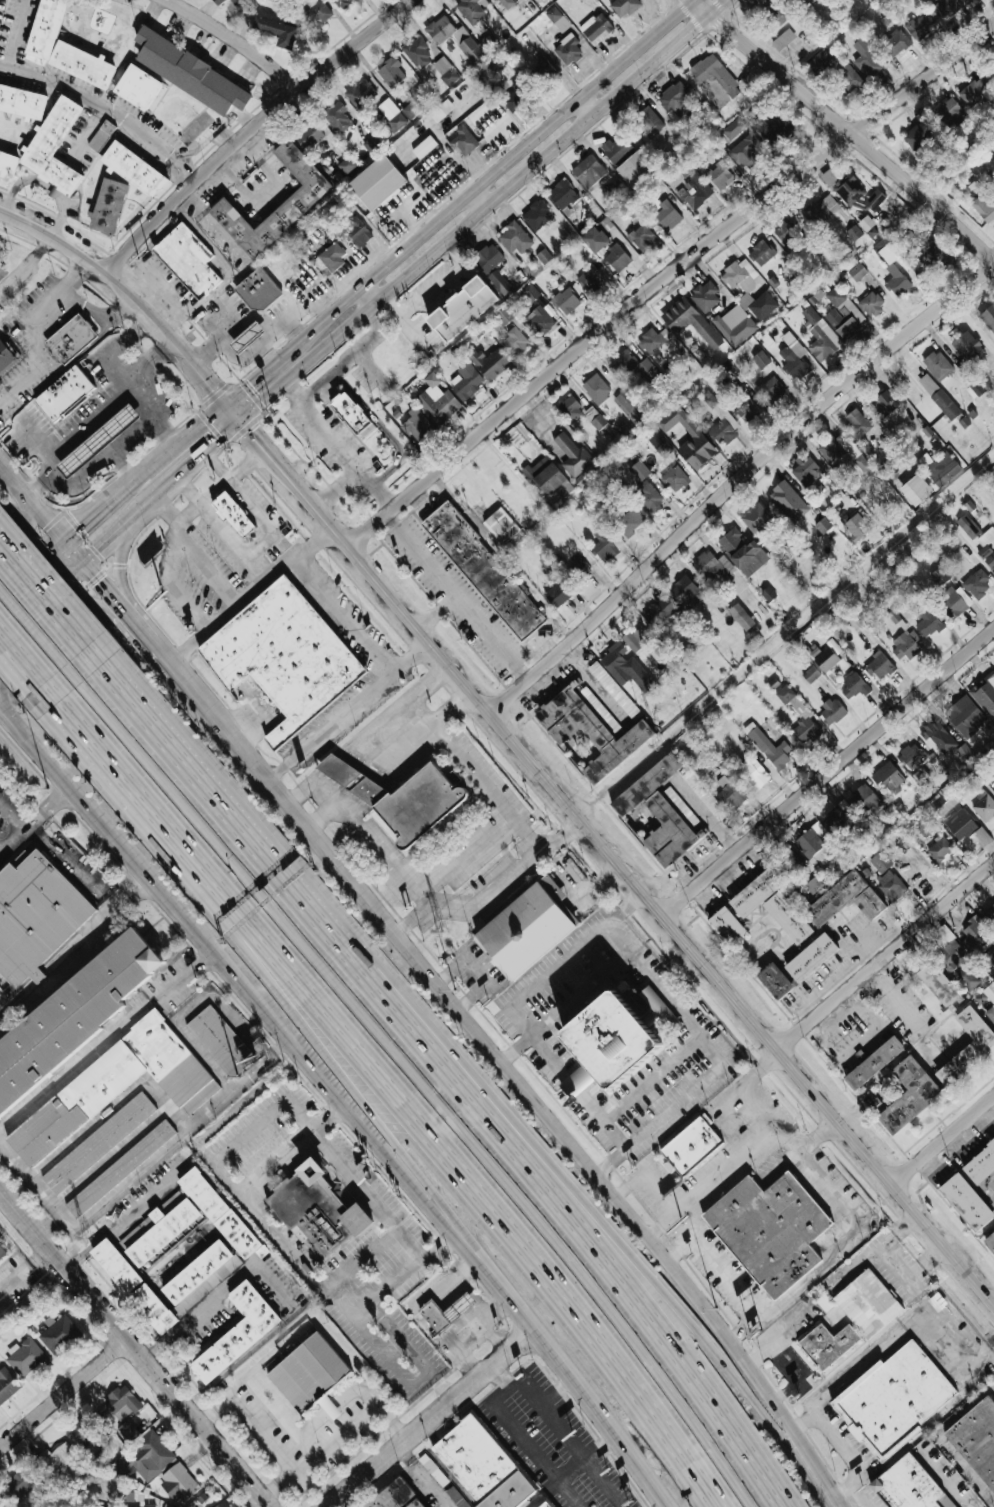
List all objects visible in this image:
building: (219, 2)
building: (235, 2)
building: (342, 3)
building: (506, 4)
building: (624, 7)
building: (944, 8)
building: (470, 10)
building: (779, 13)
building: (316, 16)
building: (558, 19)
building: (920, 25)
building: (596, 28)
building: (278, 32)
road: (14, 36)
building: (454, 38)
building: (783, 40)
road: (237, 41)
building: (895, 43)
building: (488, 44)
building: (63, 47)
building: (567, 49)
building: (822, 57)
building: (868, 57)
building: (429, 61)
building: (499, 61)
building: (190, 73)
building: (391, 73)
building: (714, 74)
building: (990, 75)
building: (849, 78)
building: (138, 87)
building: (973, 92)
building: (361, 94)
building: (515, 97)
building: (673, 97)
building: (22, 102)
road: (587, 107)
road: (107, 110)
building: (412, 110)
building: (441, 111)
building: (949, 111)
building: (392, 116)
building: (337, 118)
building: (648, 122)
building: (736, 127)
road: (845, 128)
building: (778, 129)
road: (253, 130)
building: (307, 135)
building: (102, 137)
building: (916, 137)
building: (463, 142)
building: (53, 147)
building: (424, 147)
building: (616, 149)
building: (744, 155)
building: (347, 165)
building: (8, 166)
building: (636, 167)
building: (134, 170)
building: (588, 171)
road: (490, 175)
building: (720, 176)
building: (377, 182)
building: (844, 187)
building: (694, 191)
building: (562, 194)
road: (484, 197)
building: (874, 200)
building: (299, 203)
building: (109, 207)
building: (985, 208)
building: (821, 210)
road: (485, 211)
building: (666, 215)
building: (537, 216)
building: (866, 224)
building: (358, 233)
building: (787, 234)
building: (641, 236)
building: (515, 238)
building: (595, 239)
building: (885, 252)
building: (761, 253)
building: (332, 256)
building: (543, 256)
building: (931, 256)
building: (489, 257)
building: (616, 258)
building: (188, 260)
road: (25, 263)
building: (857, 272)
building: (3, 274)
building: (590, 278)
road: (666, 278)
building: (499, 282)
building: (897, 282)
building: (748, 289)
building: (258, 290)
road: (125, 292)
building: (529, 293)
road: (370, 295)
building: (705, 297)
building: (566, 301)
building: (871, 303)
building: (463, 309)
road: (94, 313)
building: (843, 314)
building: (505, 316)
building: (988, 317)
building: (540, 322)
building: (689, 322)
road: (244, 325)
building: (735, 325)
road: (21, 328)
building: (821, 336)
building: (247, 338)
building: (71, 339)
building: (653, 340)
building: (515, 342)
road: (256, 346)
building: (968, 349)
road: (357, 350)
road: (252, 351)
building: (6, 356)
building: (794, 357)
road: (149, 359)
building: (760, 360)
building: (491, 362)
building: (937, 365)
building: (638, 370)
road: (256, 377)
building: (466, 381)
building: (971, 382)
building: (596, 389)
building: (771, 390)
building: (65, 395)
building: (939, 397)
building: (709, 400)
building: (437, 403)
traffic signals: (225, 405)
building: (883, 405)
building: (631, 408)
building: (570, 409)
building: (747, 411)
road: (233, 414)
building: (352, 415)
traffic signals: (241, 423)
building: (857, 424)
building: (417, 425)
road: (83, 426)
road: (143, 432)
building: (722, 433)
road: (165, 434)
building: (98, 442)
building: (696, 443)
road: (339, 447)
road: (174, 448)
building: (843, 452)
building: (572, 455)
road: (246, 463)
road: (190, 465)
building: (939, 468)
road: (124, 469)
building: (638, 472)
building: (806, 472)
building: (547, 477)
building: (675, 479)
road: (227, 480)
road: (737, 484)
road: (336, 487)
building: (916, 490)
building: (783, 495)
building: (647, 496)
road: (187, 515)
building: (234, 516)
road: (38, 517)
building: (756, 518)
road: (263, 522)
building: (629, 522)
building: (501, 526)
building: (822, 526)
building: (856, 526)
building: (968, 527)
traffic signals: (79, 528)
road: (220, 528)
road: (108, 535)
road: (26, 539)
road: (61, 542)
building: (606, 544)
building: (987, 548)
building: (742, 552)
road: (118, 557)
building: (712, 567)
building: (484, 571)
power tower: (855, 574)
traffic signals: (59, 577)
building: (939, 577)
road: (91, 581)
road: (171, 581)
traffic signals: (94, 584)
building: (977, 584)
building: (686, 592)
road: (456, 594)
building: (557, 594)
road: (37, 595)
road: (43, 595)
building: (768, 595)
road: (233, 597)
building: (954, 601)
road: (113, 605)
building: (661, 611)
building: (741, 617)
building: (927, 625)
road: (31, 628)
road: (132, 628)
road: (201, 633)
road: (358, 633)
building: (636, 639)
building: (905, 644)
road: (33, 645)
building: (282, 655)
building: (828, 656)
road: (158, 657)
road: (18, 665)
building: (879, 666)
building: (626, 668)
building: (811, 675)
road: (429, 683)
building: (854, 685)
building: (614, 690)
building: (984, 694)
road: (452, 707)
building: (832, 712)
road: (1, 713)
building: (799, 716)
building: (965, 716)
road: (329, 727)
building: (592, 729)
building: (939, 736)
road: (359, 742)
building: (768, 746)
power tower: (654, 747)
road: (243, 755)
building: (911, 756)
road: (98, 757)
road: (384, 765)
road: (829, 771)
road: (474, 773)
building: (752, 773)
building: (887, 776)
road: (296, 793)
building: (729, 793)
road: (323, 795)
building: (704, 795)
building: (401, 798)
building: (866, 798)
road: (219, 802)
building: (943, 802)
building: (984, 808)
parking lot: (10, 810)
building: (661, 812)
road: (706, 817)
building: (838, 818)
road: (12, 820)
road: (35, 823)
building: (960, 825)
building: (925, 827)
road: (107, 830)
building: (981, 837)
building: (814, 844)
building: (939, 849)
road: (465, 856)
road: (617, 861)
building: (788, 862)
road: (75, 867)
road: (601, 883)
building: (890, 885)
building: (756, 893)
building: (845, 900)
road: (434, 902)
building: (36, 912)
building: (989, 915)
road: (410, 918)
building: (788, 918)
building: (727, 925)
building: (525, 929)
building: (974, 932)
power tower: (441, 934)
road: (80, 947)
building: (949, 949)
road: (576, 950)
road: (885, 952)
building: (811, 958)
building: (988, 961)
road: (476, 972)
building: (967, 979)
building: (775, 981)
road: (578, 994)
road: (662, 995)
building: (990, 997)
building: (660, 1008)
road: (6, 1012)
building: (73, 1015)
road: (519, 1022)
road: (873, 1022)
building: (612, 1039)
road: (107, 1040)
building: (223, 1044)
road: (320, 1047)
building: (968, 1047)
road: (513, 1048)
road: (760, 1063)
building: (874, 1063)
road: (413, 1077)
power tower: (268, 1078)
road: (652, 1081)
building: (576, 1082)
building: (115, 1089)
road: (577, 1091)
building: (909, 1095)
road: (348, 1109)
road: (655, 1120)
road: (819, 1134)
road: (187, 1136)
road: (944, 1140)
building: (98, 1143)
building: (690, 1147)
road: (441, 1160)
road: (578, 1160)
building: (120, 1169)
road: (721, 1173)
road: (37, 1190)
building: (970, 1190)
road: (373, 1199)
road: (651, 1209)
building: (317, 1212)
building: (221, 1214)
road: (123, 1217)
road: (582, 1222)
road: (899, 1225)
building: (159, 1228)
road: (871, 1228)
road: (654, 1230)
road: (266, 1231)
building: (770, 1231)
power tower: (86, 1236)
building: (990, 1241)
building: (2, 1252)
road: (445, 1256)
road: (730, 1268)
road: (23, 1272)
building: (198, 1278)
parking lot: (380, 1279)
road: (275, 1286)
building: (446, 1312)
building: (851, 1321)
building: (239, 1322)
building: (59, 1334)
road: (700, 1335)
road: (133, 1353)
building: (25, 1358)
road: (858, 1366)
road: (251, 1371)
building: (309, 1376)
road: (577, 1384)
building: (7, 1385)
road: (505, 1385)
road: (557, 1391)
road: (442, 1394)
road: (62, 1395)
road: (347, 1396)
building: (895, 1400)
building: (122, 1403)
road: (248, 1419)
road: (430, 1419)
road: (802, 1422)
building: (79, 1432)
road: (940, 1439)
building: (976, 1441)
parking lot: (550, 1442)
road: (573, 1442)
road: (602, 1448)
road: (319, 1452)
road: (534, 1453)
building: (64, 1462)
building: (481, 1466)
road: (424, 1476)
building: (25, 1482)
building: (179, 1483)
building: (907, 1485)
building: (396, 1496)
road: (860, 1496)
road: (831, 1499)
building: (223, 1504)
building: (545, 1505)
building: (149, 1506)
road: (663, 1506)

